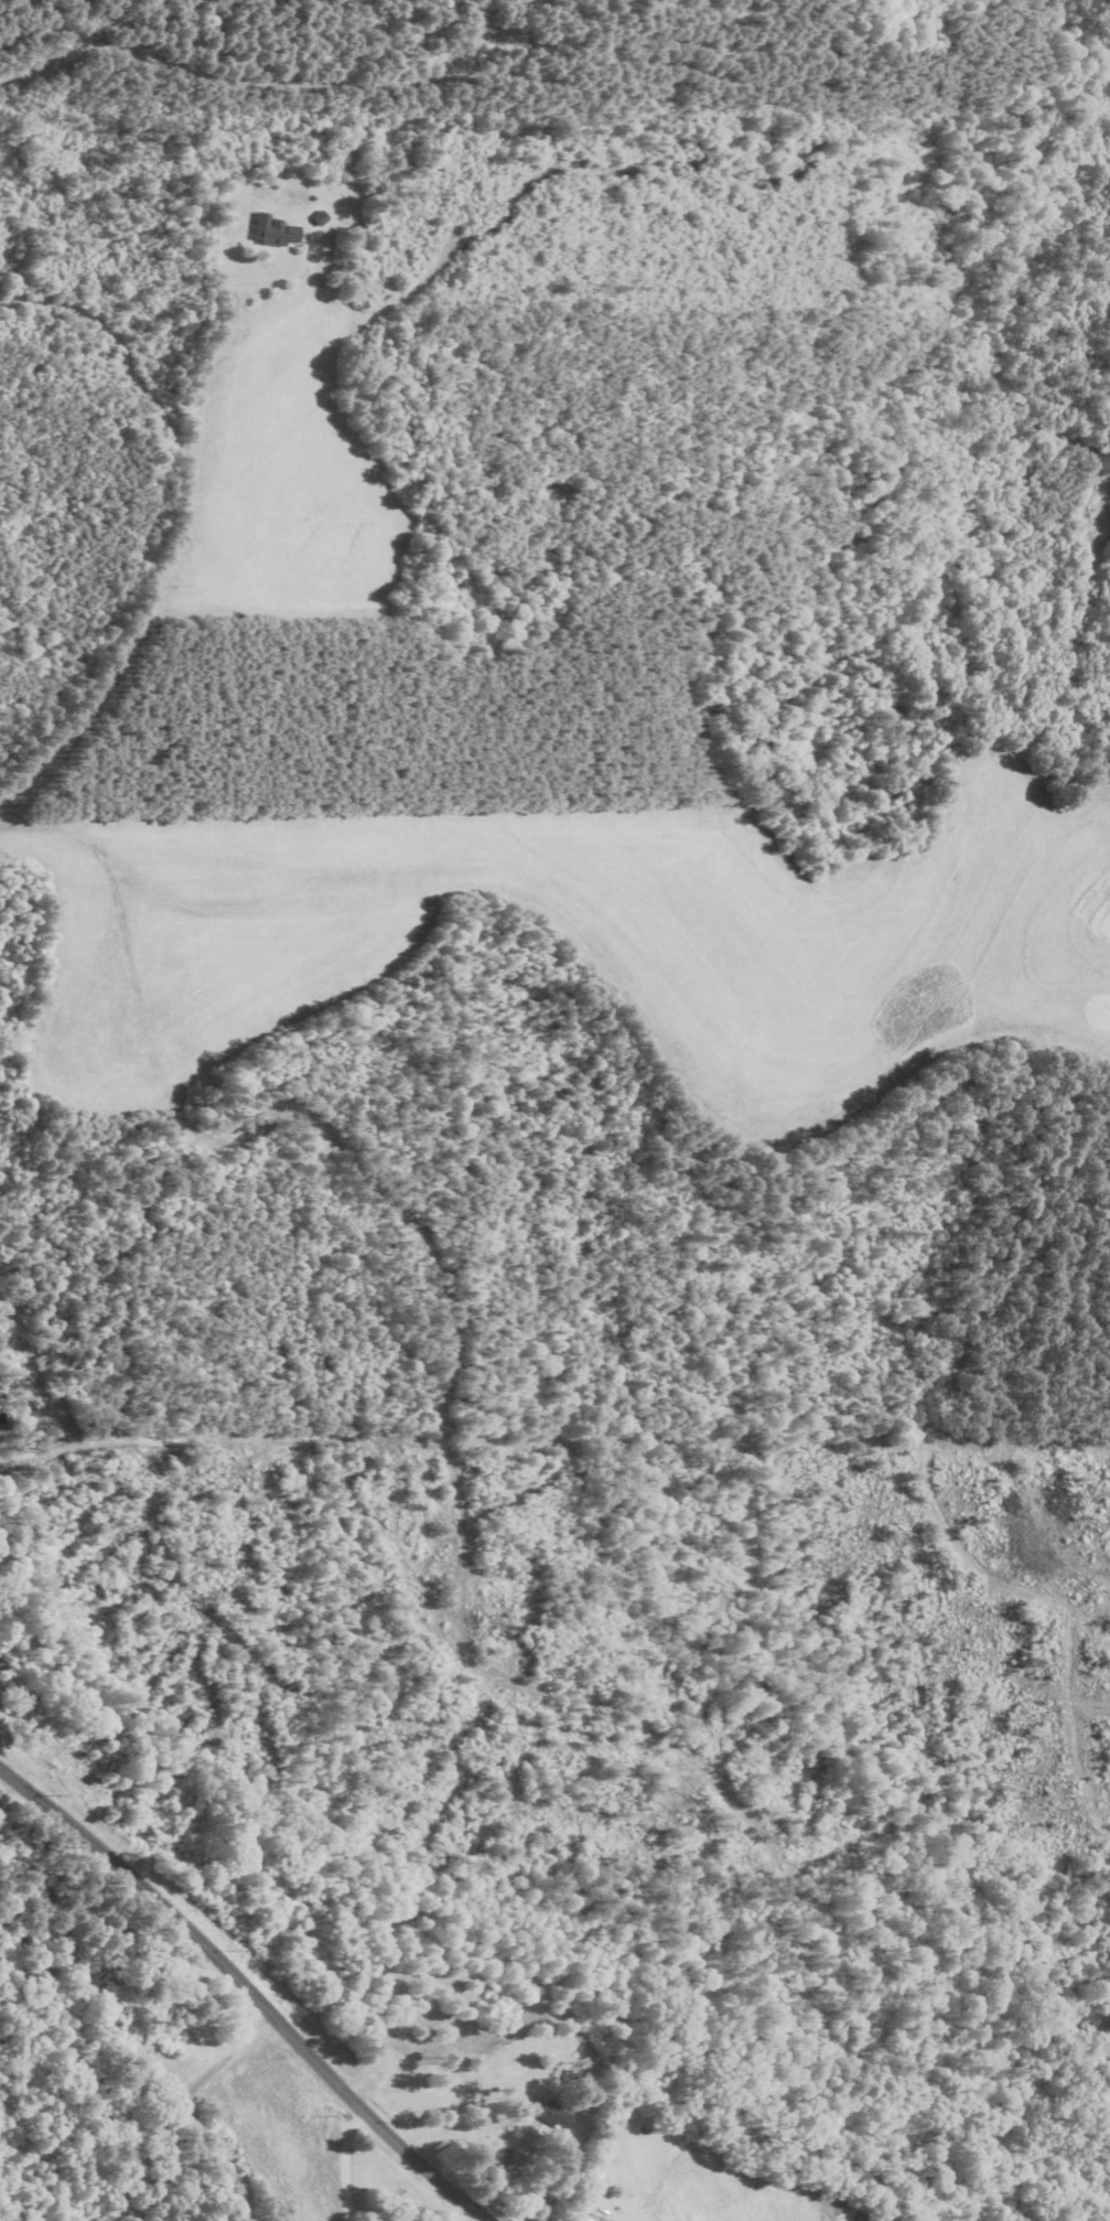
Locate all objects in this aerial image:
building: (403, 164)
building: (277, 230)
road: (247, 1992)
road: (173, 2106)
building: (559, 2115)
building: (864, 2218)

